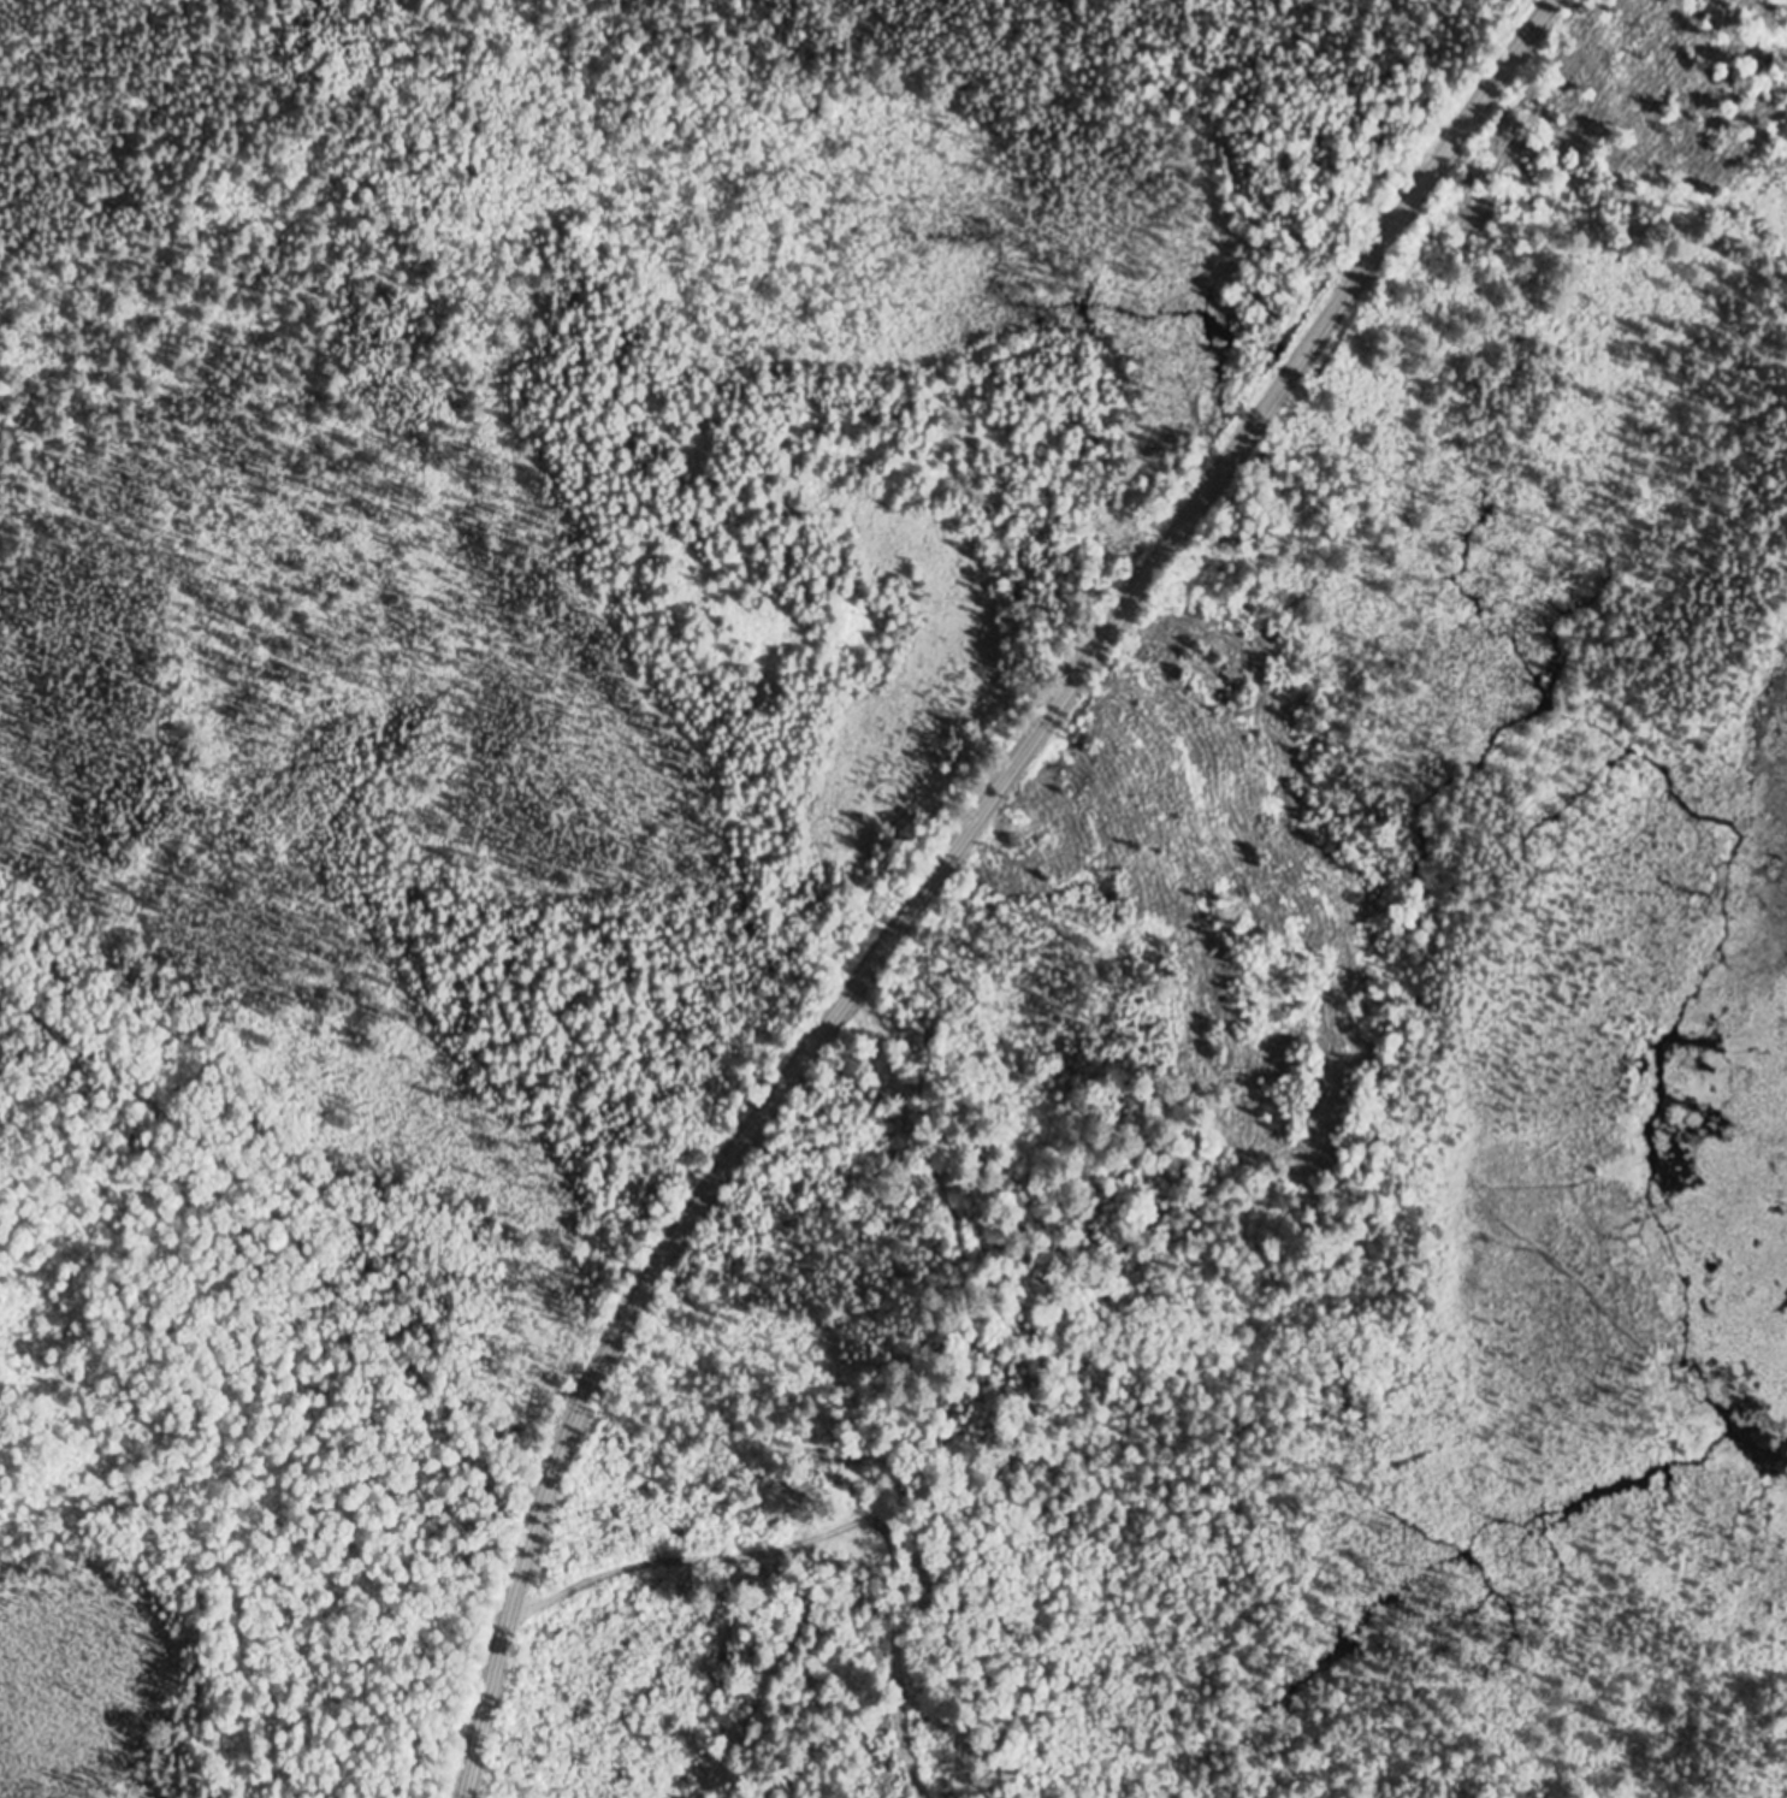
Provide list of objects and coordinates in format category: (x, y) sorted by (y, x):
road: (943, 864)

